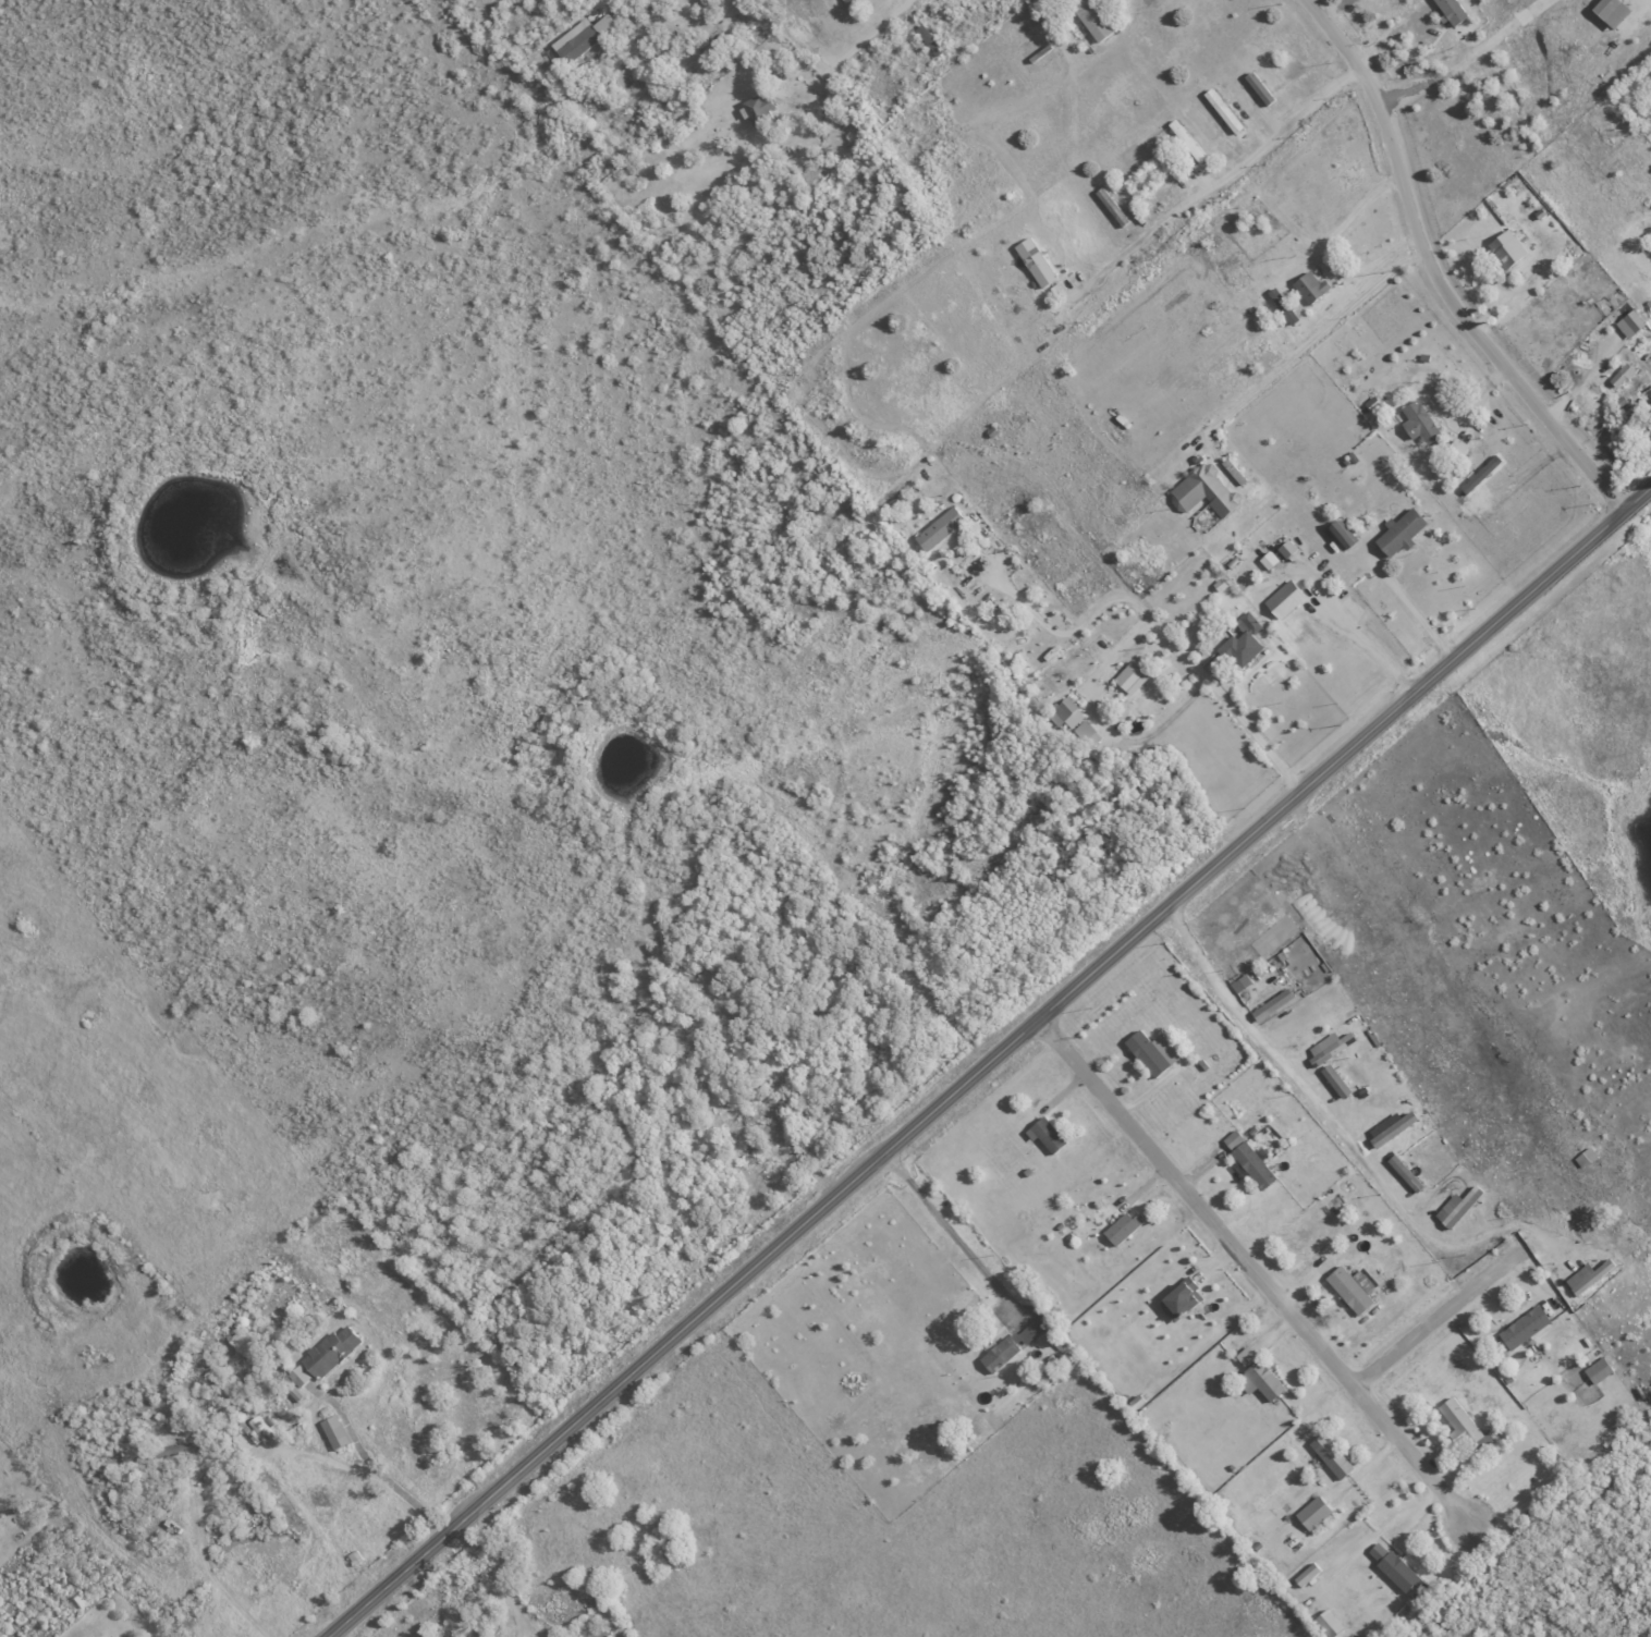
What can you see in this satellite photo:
road: (601, 0)
road: (1650, 0)
building: (1451, 10)
building: (1611, 11)
building: (1090, 19)
road: (884, 33)
building: (580, 36)
building: (708, 50)
road: (1467, 58)
building: (1258, 87)
building: (758, 109)
building: (1221, 110)
building: (1186, 141)
road: (1224, 174)
building: (1505, 248)
road: (1324, 252)
building: (1034, 261)
road: (1434, 272)
building: (1310, 285)
building: (1282, 305)
building: (1628, 323)
road: (1309, 338)
building: (1619, 375)
building: (1371, 403)
building: (1419, 422)
building: (1203, 490)
building: (939, 528)
building: (1399, 532)
building: (1342, 536)
building: (1268, 560)
building: (1283, 599)
road: (1407, 607)
road: (1160, 626)
road: (1362, 639)
building: (1242, 642)
building: (1129, 679)
building: (1065, 713)
building: (1086, 733)
building: (1239, 982)
building: (1271, 1004)
building: (1328, 1046)
building: (1151, 1051)
road: (990, 1062)
building: (1334, 1080)
building: (1391, 1127)
building: (1047, 1134)
road: (1344, 1138)
building: (1247, 1158)
building: (1404, 1173)
building: (1456, 1206)
building: (1121, 1227)
road: (949, 1232)
road: (1250, 1275)
building: (1587, 1275)
building: (1348, 1290)
building: (1177, 1300)
road: (1436, 1317)
building: (1522, 1327)
building: (1012, 1344)
building: (329, 1351)
building: (1245, 1355)
building: (1598, 1370)
building: (298, 1376)
building: (1259, 1380)
building: (292, 1391)
building: (1466, 1428)
building: (332, 1431)
building: (171, 1449)
building: (1330, 1455)
road: (301, 1458)
building: (1312, 1513)
building: (1377, 1551)
road: (208, 1564)
building: (1396, 1571)
building: (1306, 1574)
road: (505, 1577)
building: (1328, 1623)

